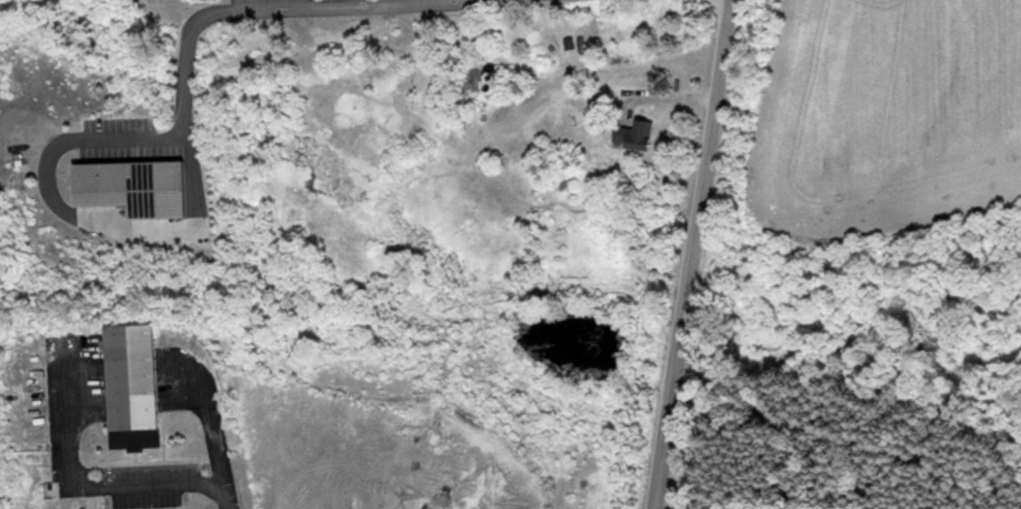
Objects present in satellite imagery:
road: (251, 5)
road: (185, 60)
road: (659, 93)
building: (633, 134)
building: (130, 186)
road: (691, 254)
building: (131, 386)
road: (213, 429)
road: (102, 486)

